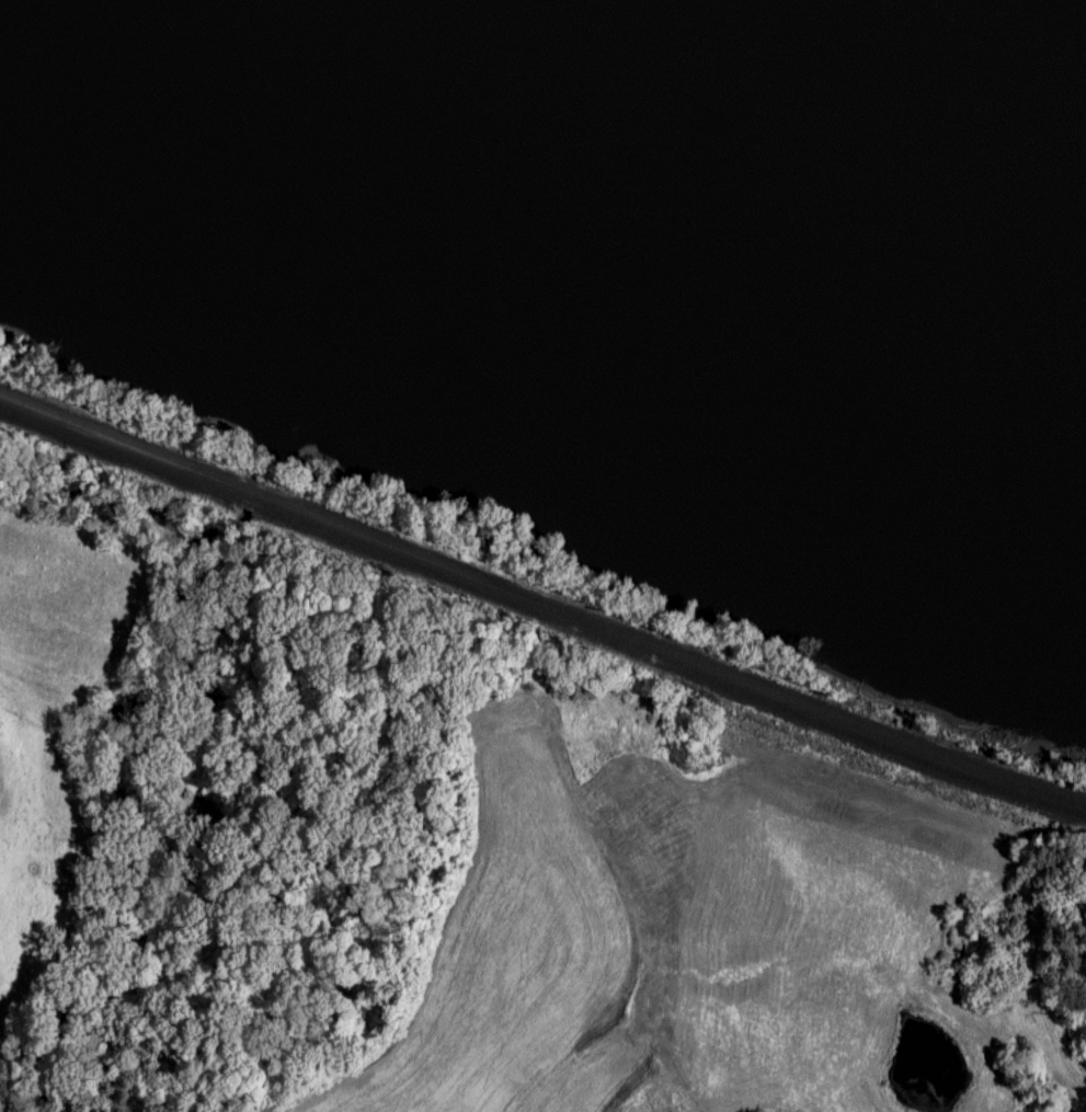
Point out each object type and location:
river: (636, 222)
railway: (541, 606)
railway: (542, 619)

